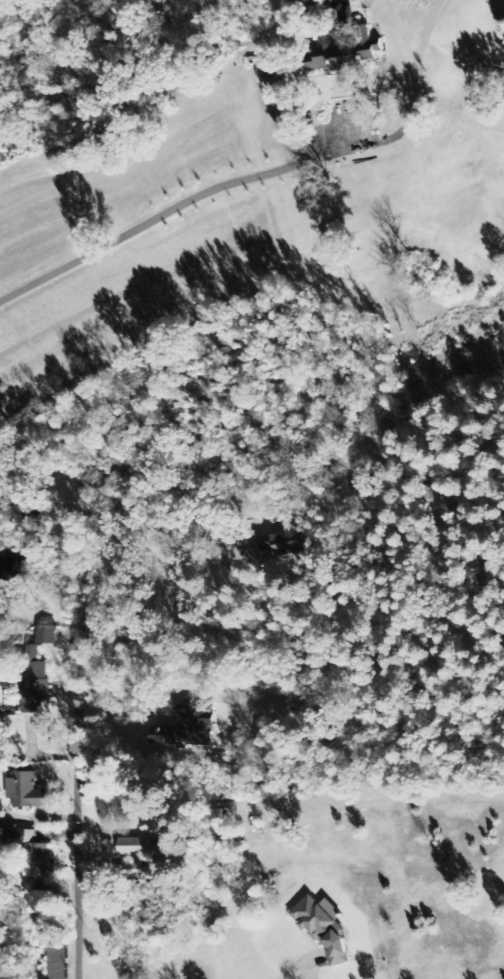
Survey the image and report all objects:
building: (345, 52)
road: (171, 205)
building: (276, 543)
building: (35, 689)
building: (186, 728)
building: (26, 791)
building: (135, 847)
building: (33, 859)
road: (72, 870)
building: (323, 928)
building: (57, 963)

